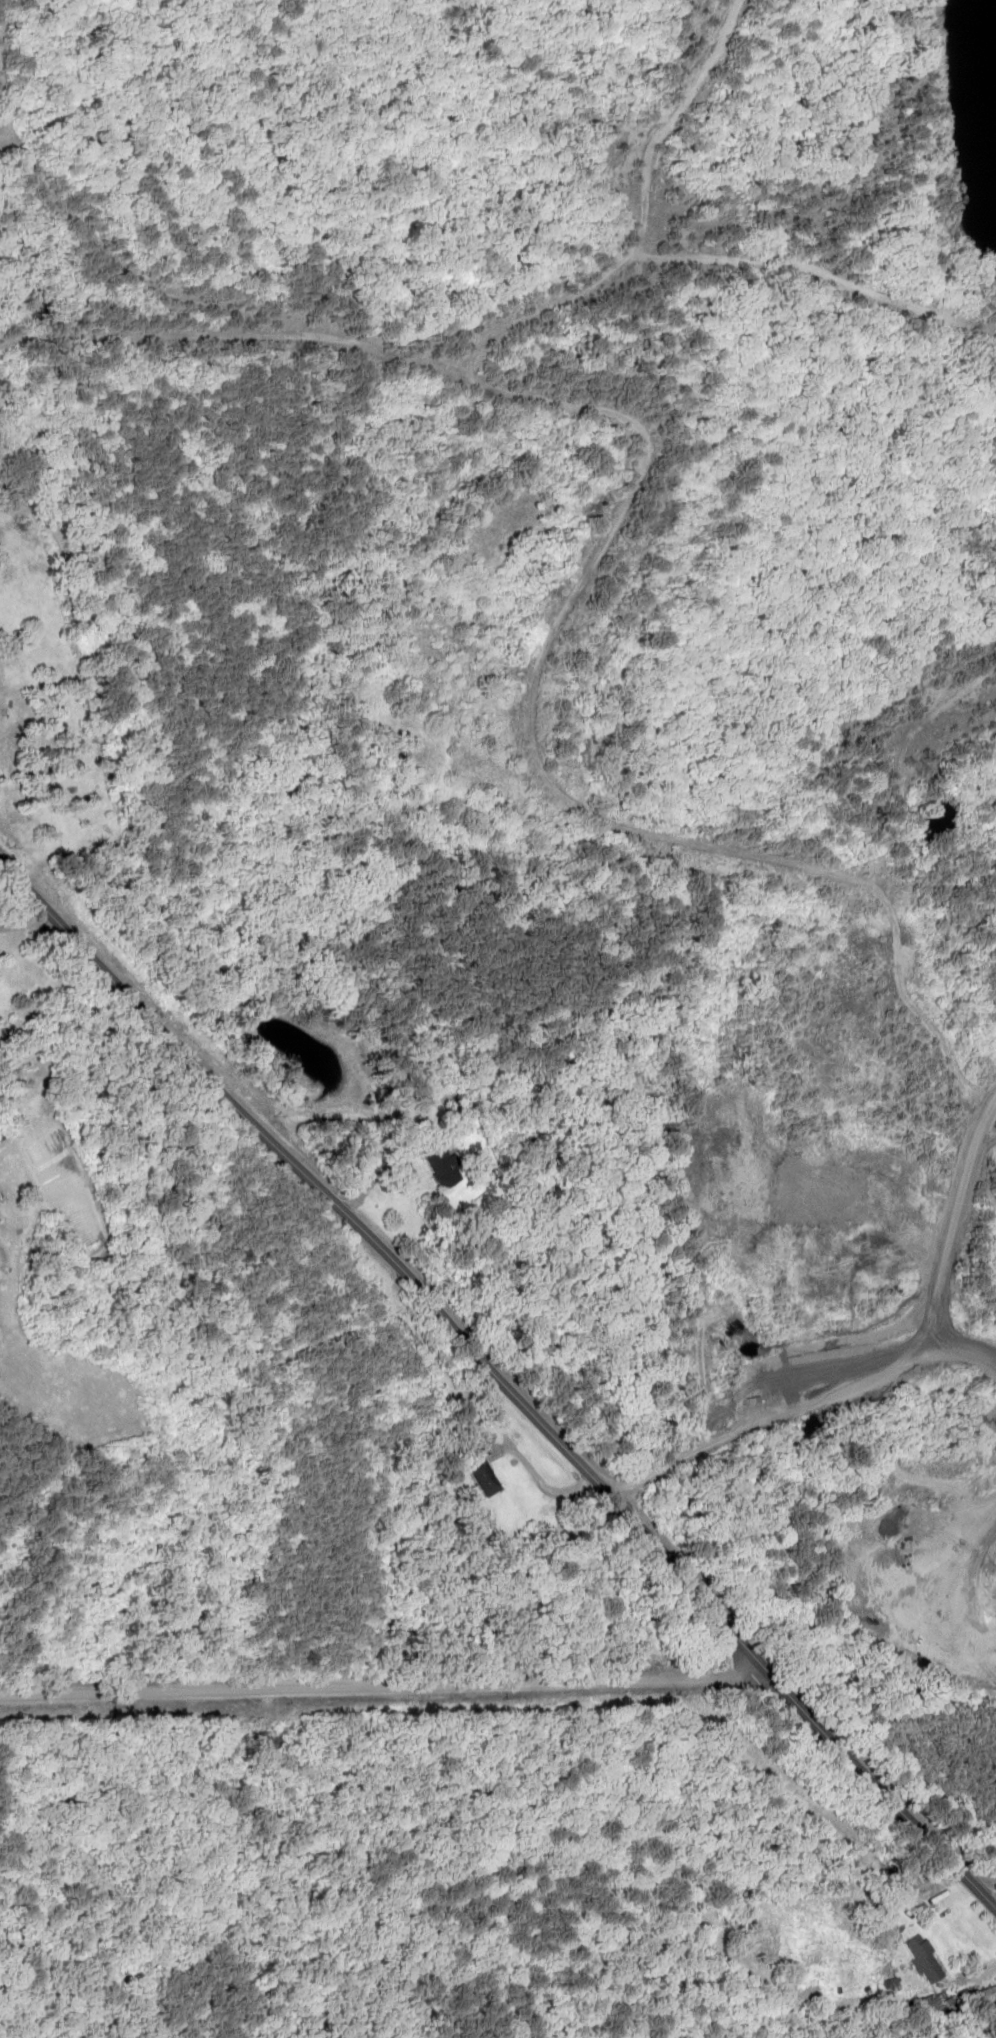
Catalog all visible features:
building: (439, 1161)
road: (504, 1380)
road: (798, 1411)
building: (471, 1475)
road: (383, 1682)
building: (233, 1741)
building: (870, 1902)
building: (914, 1957)
road: (966, 1973)

